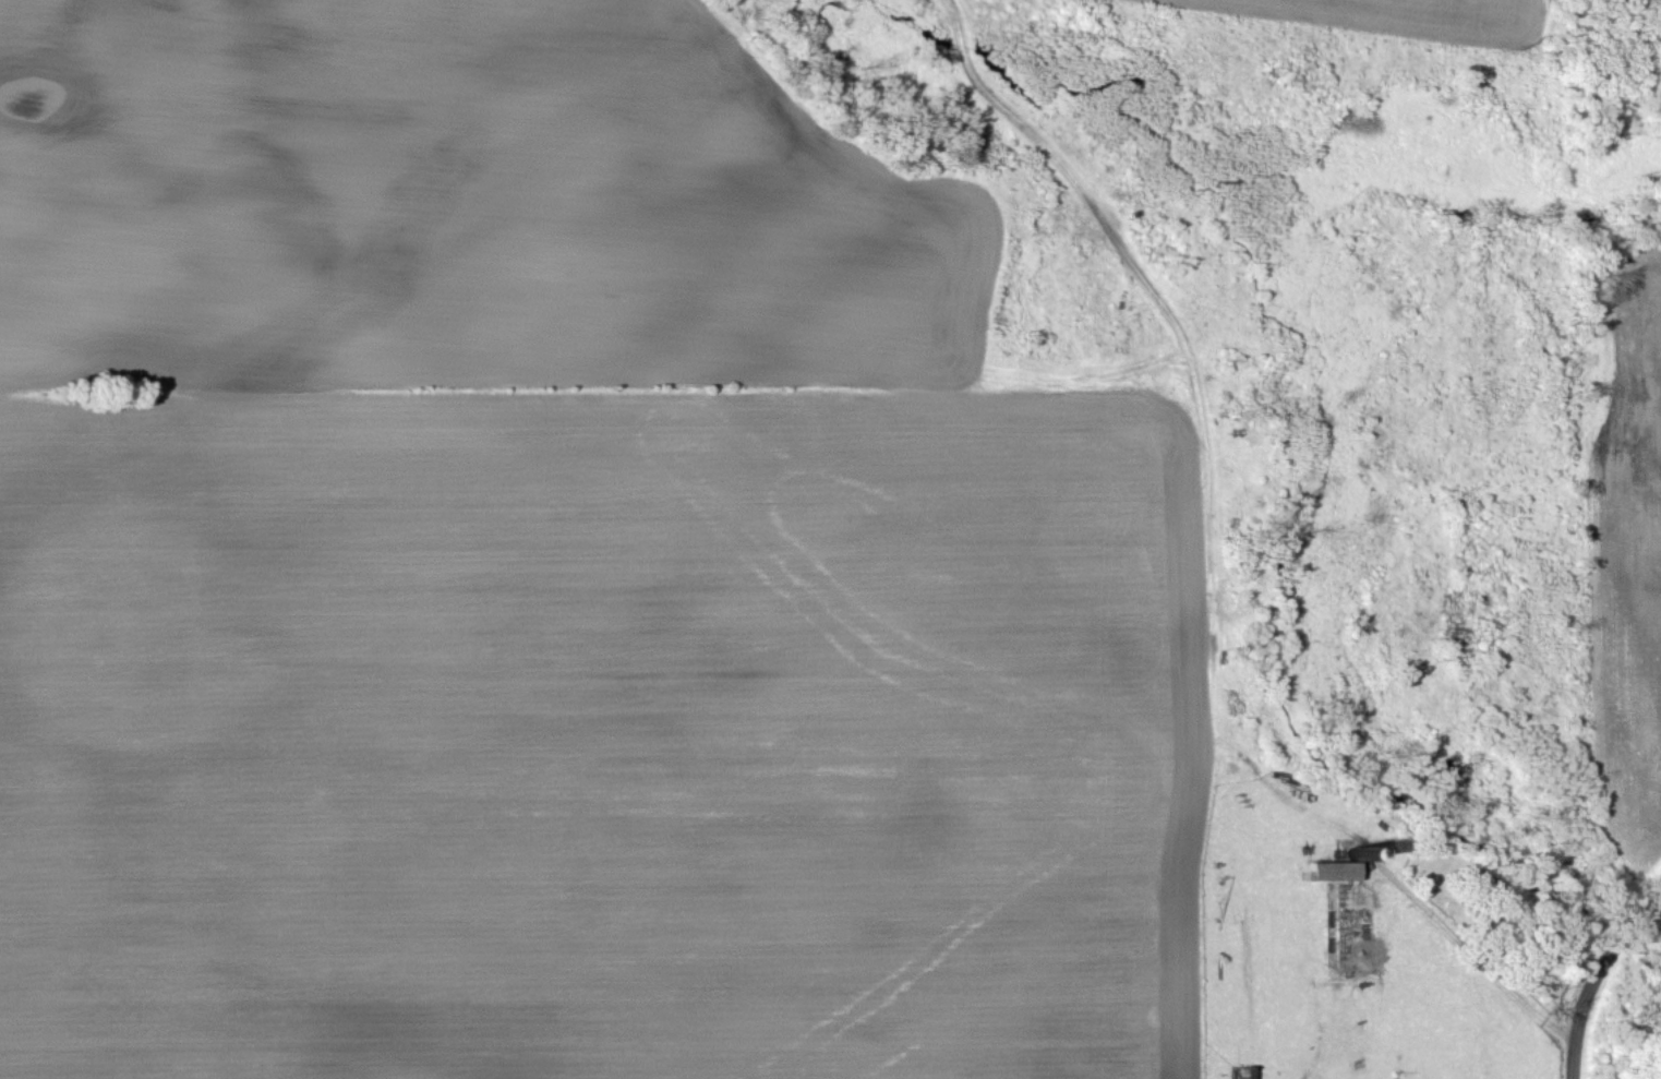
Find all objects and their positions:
building: (1335, 873)
road: (1660, 894)
road: (1591, 975)

